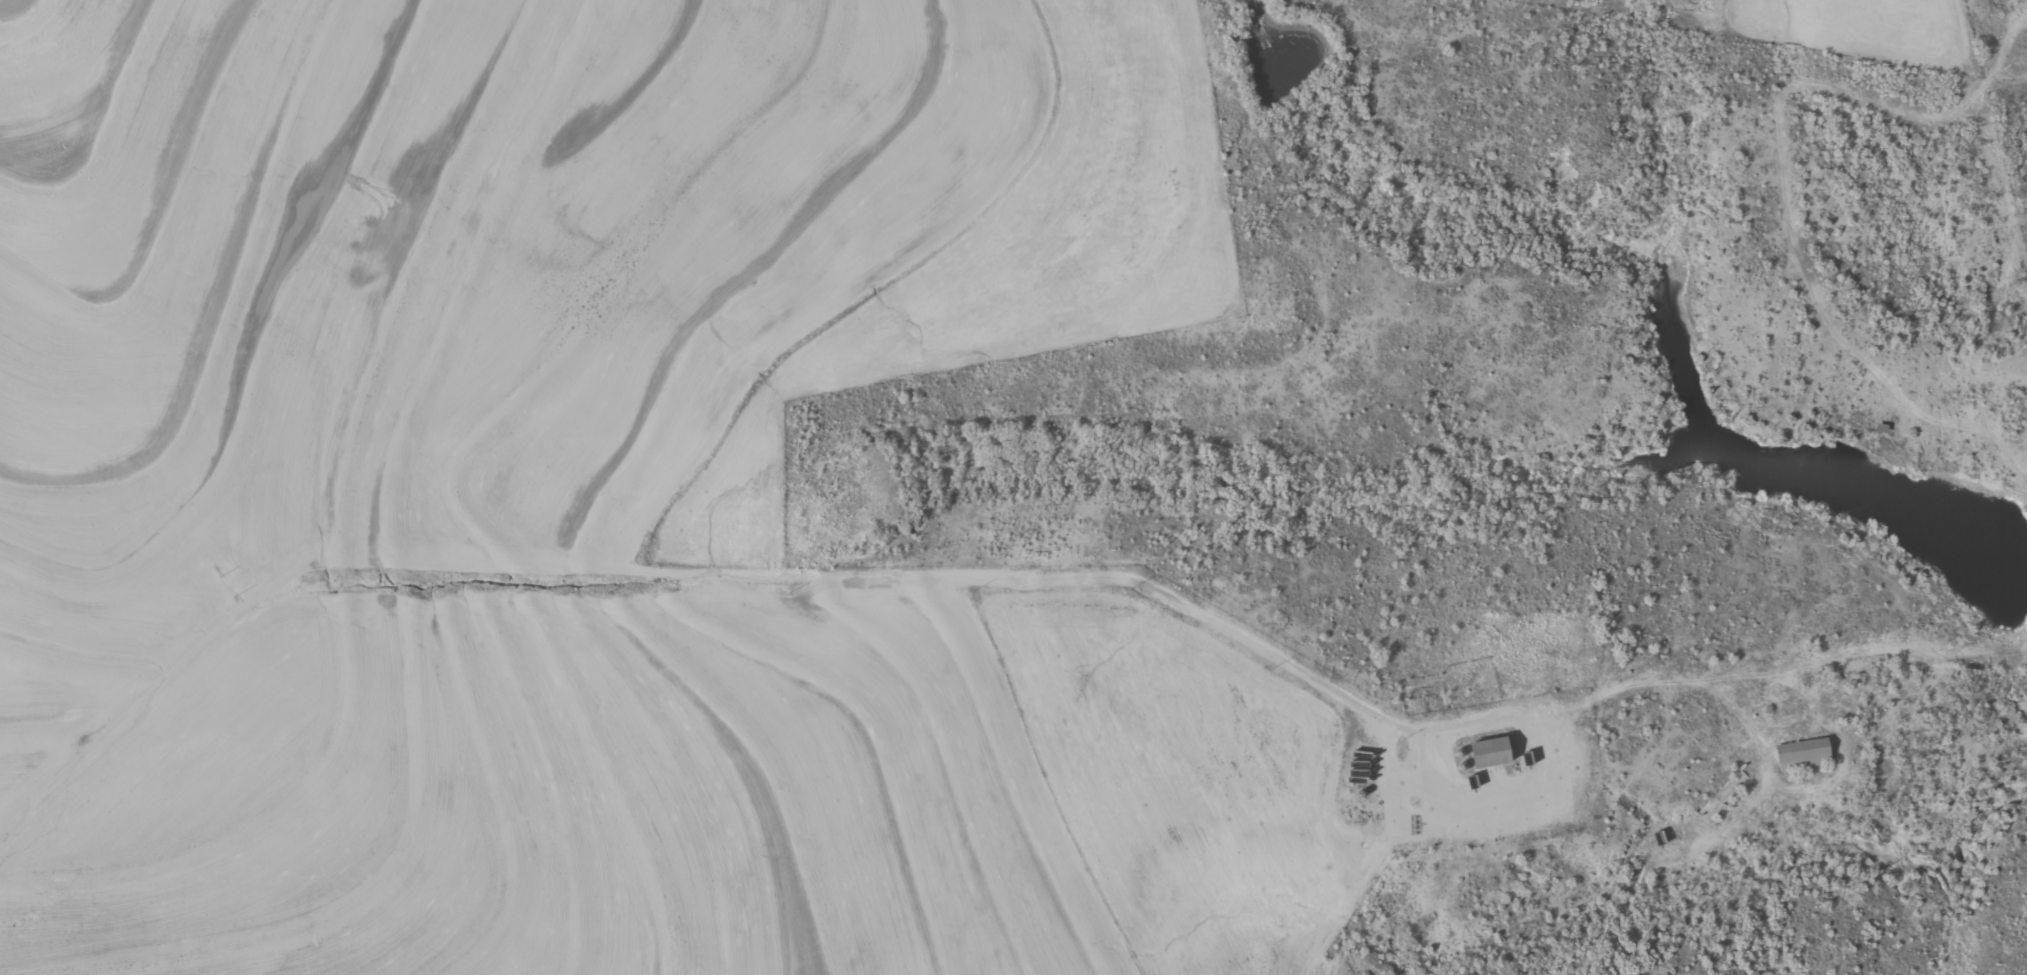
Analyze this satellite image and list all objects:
road: (1805, 277)
road: (988, 596)
building: (1804, 754)

